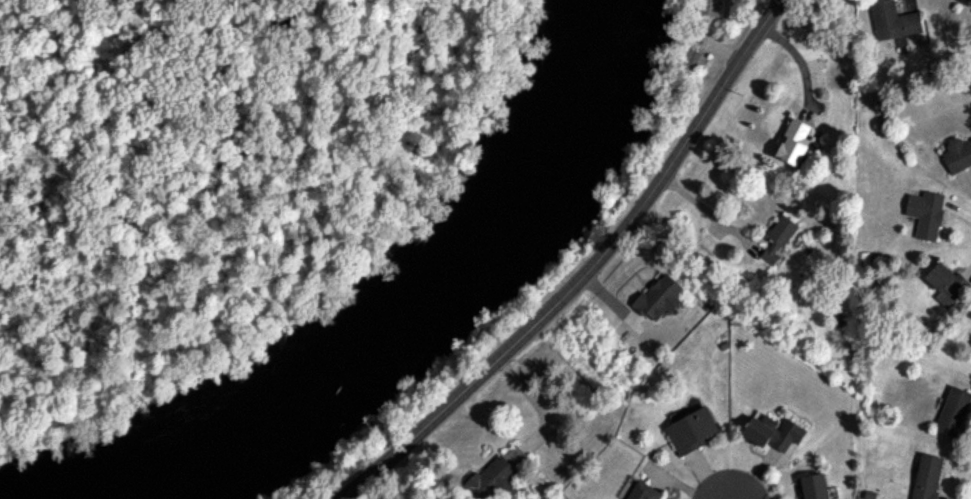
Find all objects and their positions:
building: (709, 7)
building: (893, 20)
building: (694, 60)
road: (801, 62)
building: (794, 142)
building: (958, 154)
road: (708, 212)
building: (926, 213)
building: (778, 238)
road: (586, 274)
building: (945, 282)
building: (659, 297)
river: (400, 306)
road: (533, 403)
building: (953, 411)
building: (691, 430)
building: (773, 431)
building: (927, 476)
building: (491, 479)
road: (727, 485)
building: (814, 486)
building: (643, 491)

